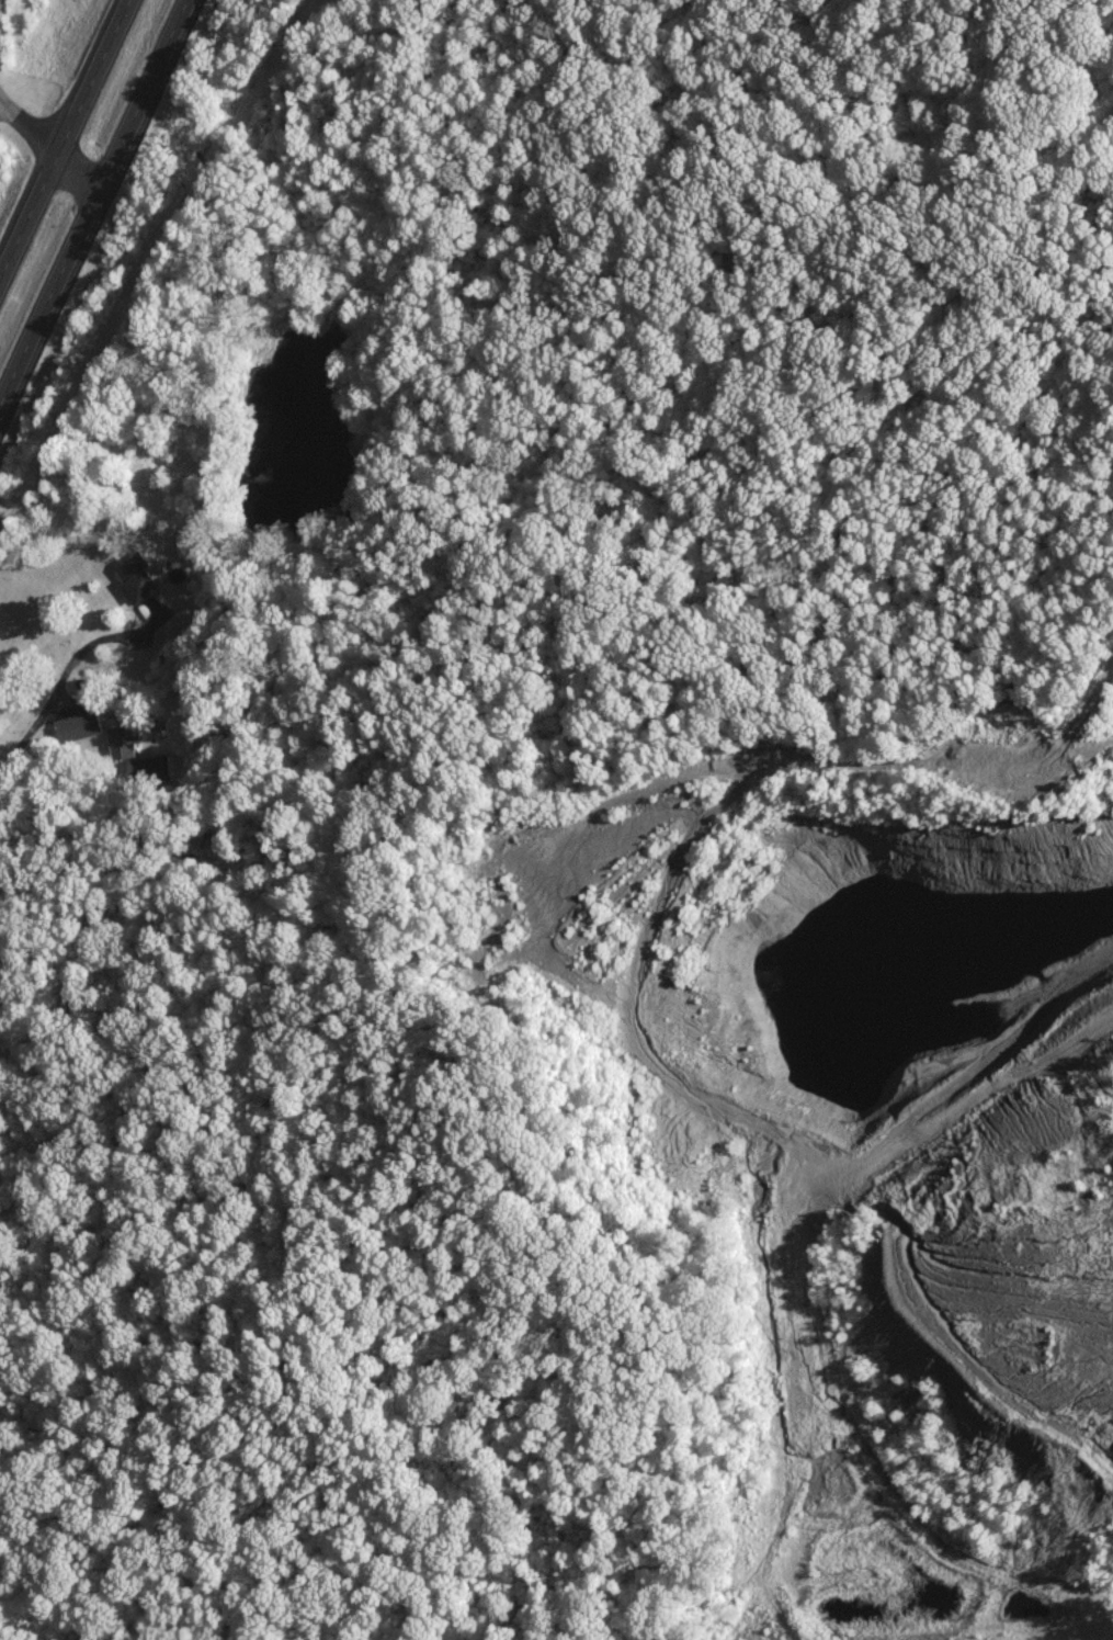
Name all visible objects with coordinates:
road: (64, 134)
road: (49, 145)
road: (93, 200)
building: (139, 578)
road: (63, 670)
building: (76, 726)
building: (121, 739)
building: (155, 766)

